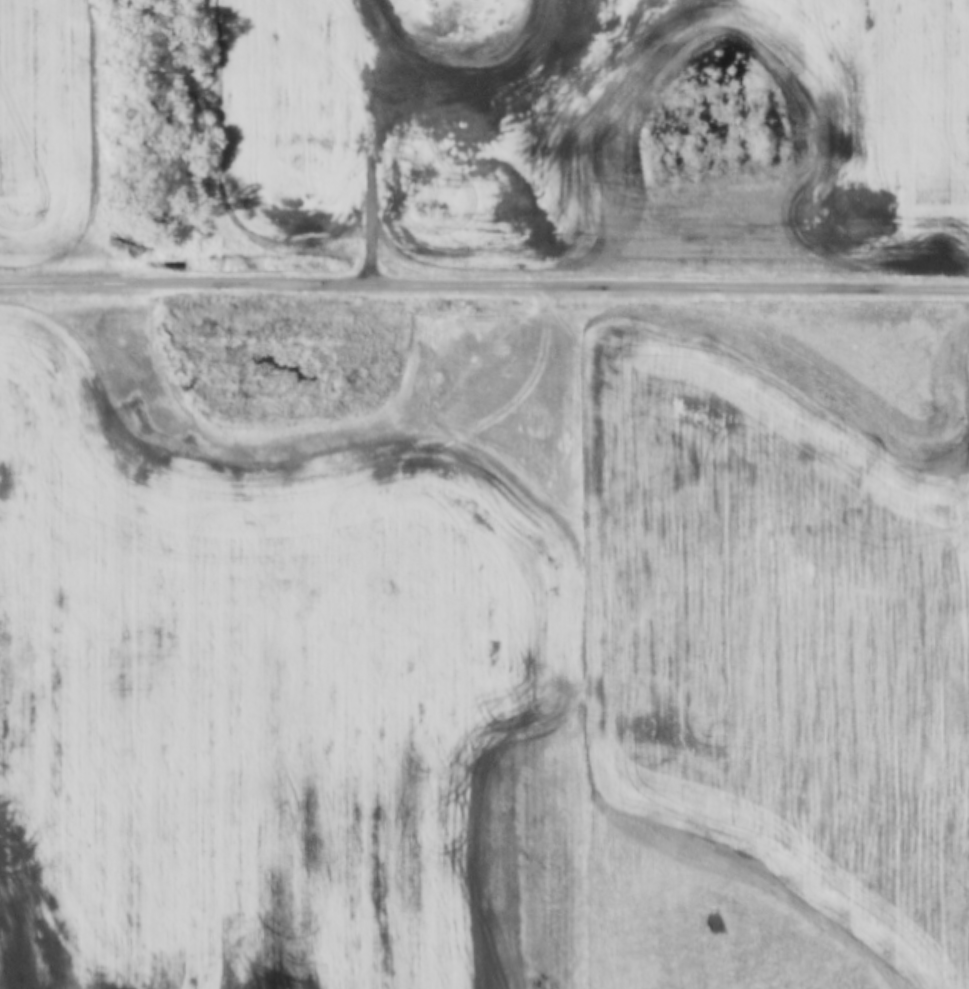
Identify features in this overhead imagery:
road: (484, 279)

